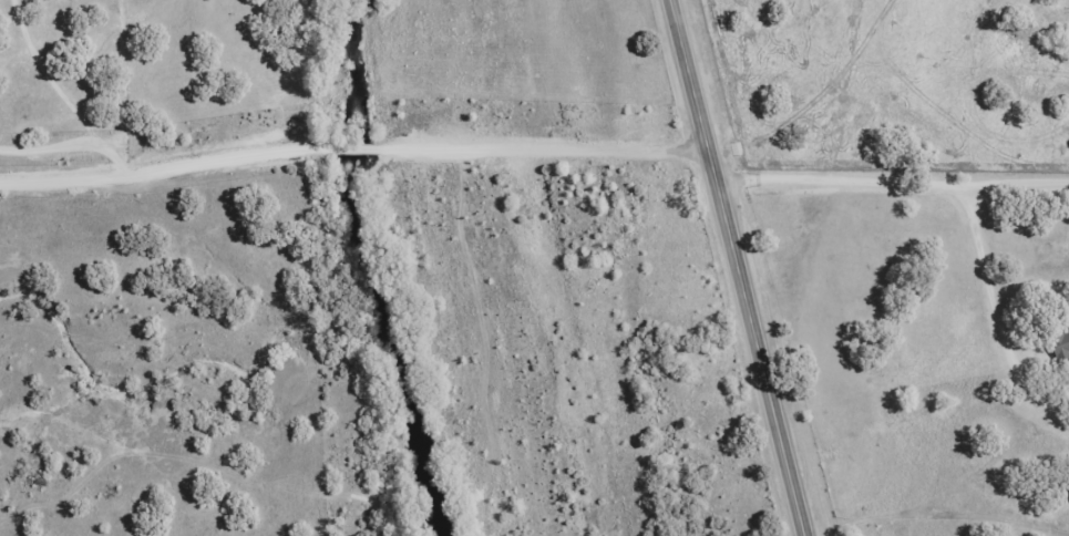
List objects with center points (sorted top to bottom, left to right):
road: (352, 144)
road: (892, 176)
road: (738, 267)
river: (361, 270)
building: (1060, 344)

